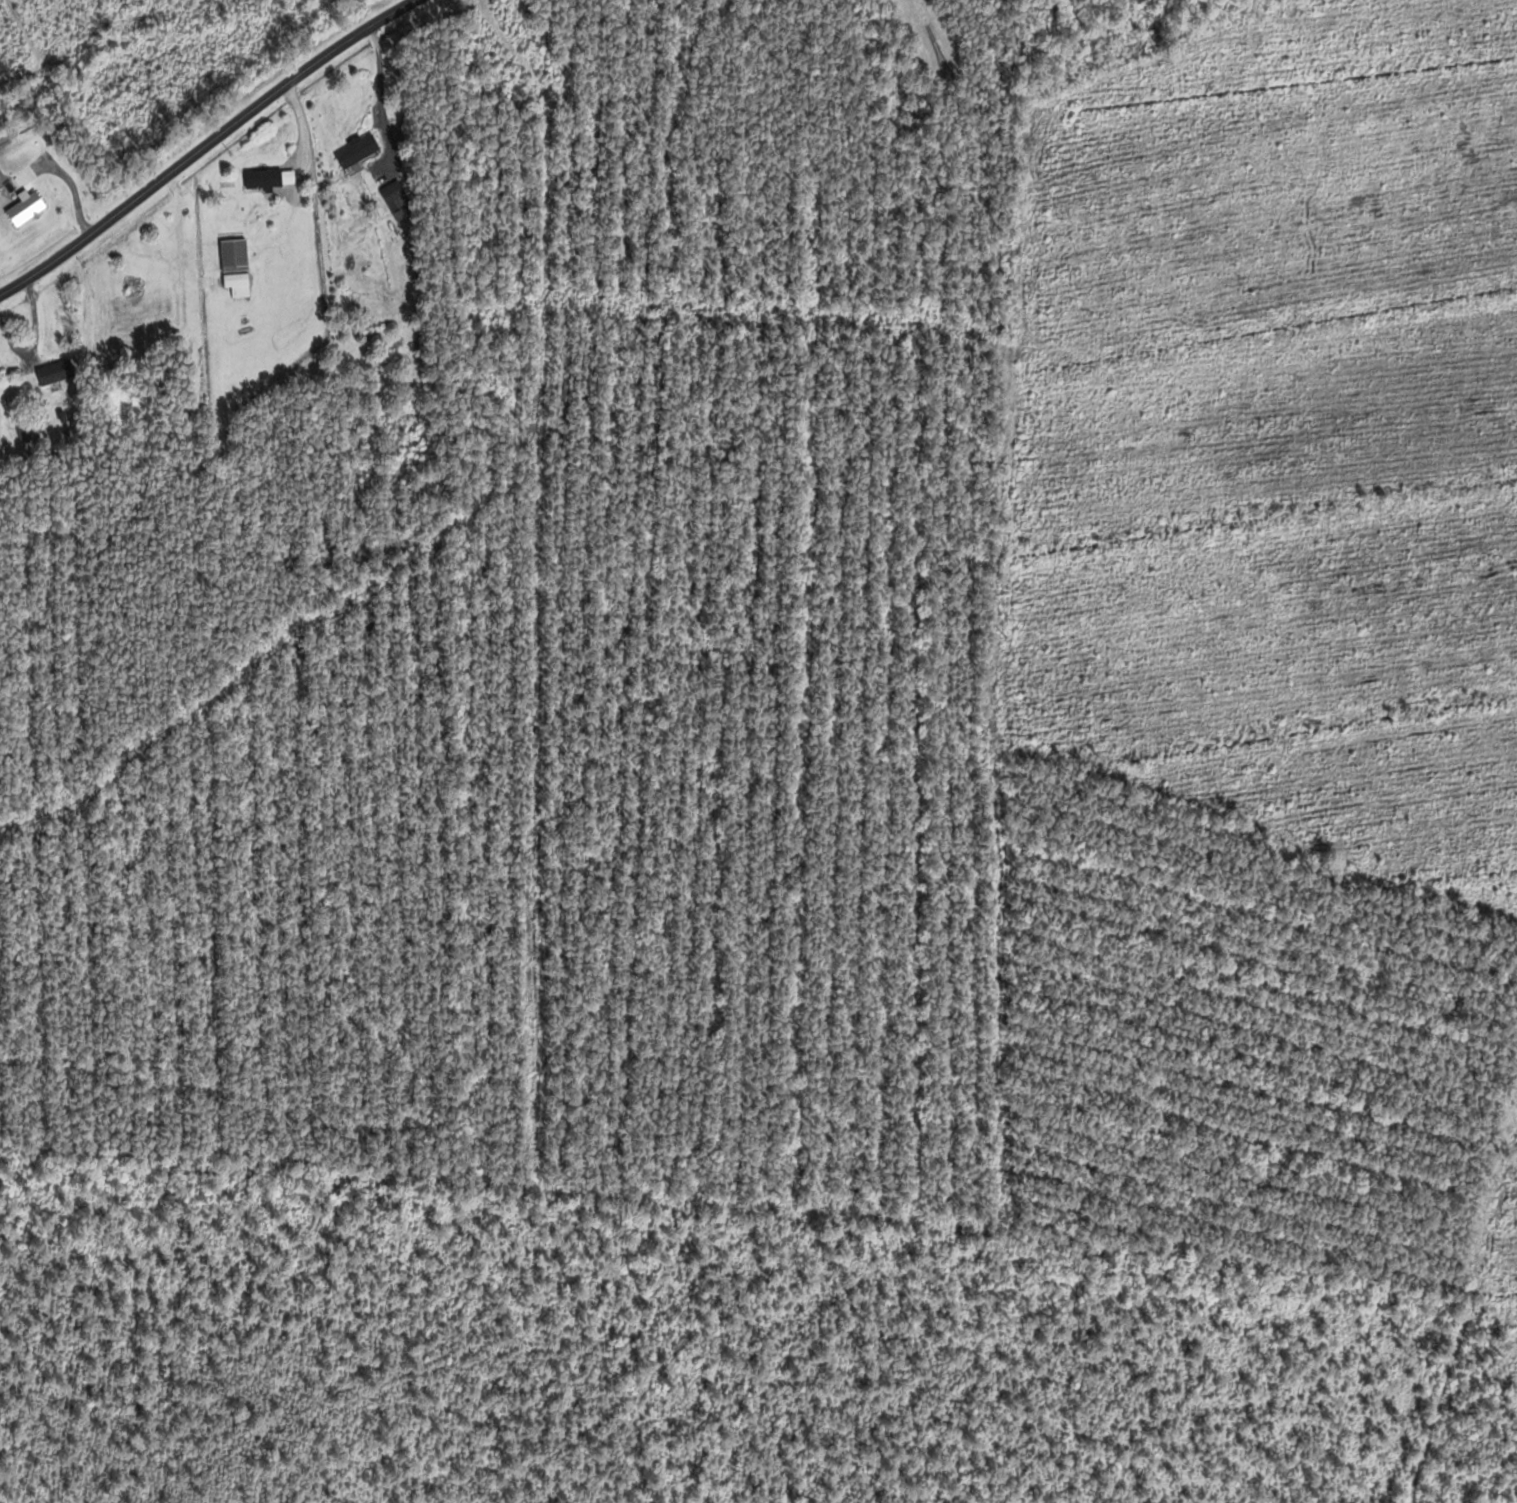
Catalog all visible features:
road: (1502, 41)
road: (302, 124)
road: (199, 145)
building: (360, 150)
building: (272, 177)
building: (398, 194)
building: (29, 207)
building: (237, 261)
building: (58, 371)
building: (28, 431)

